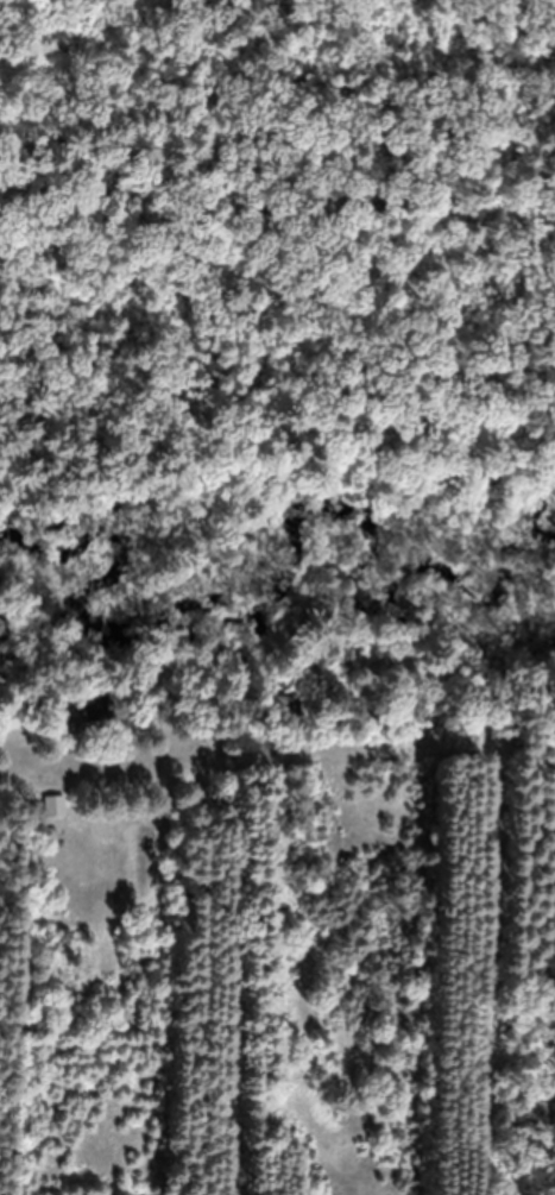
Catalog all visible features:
building: (82, 730)
building: (56, 822)

